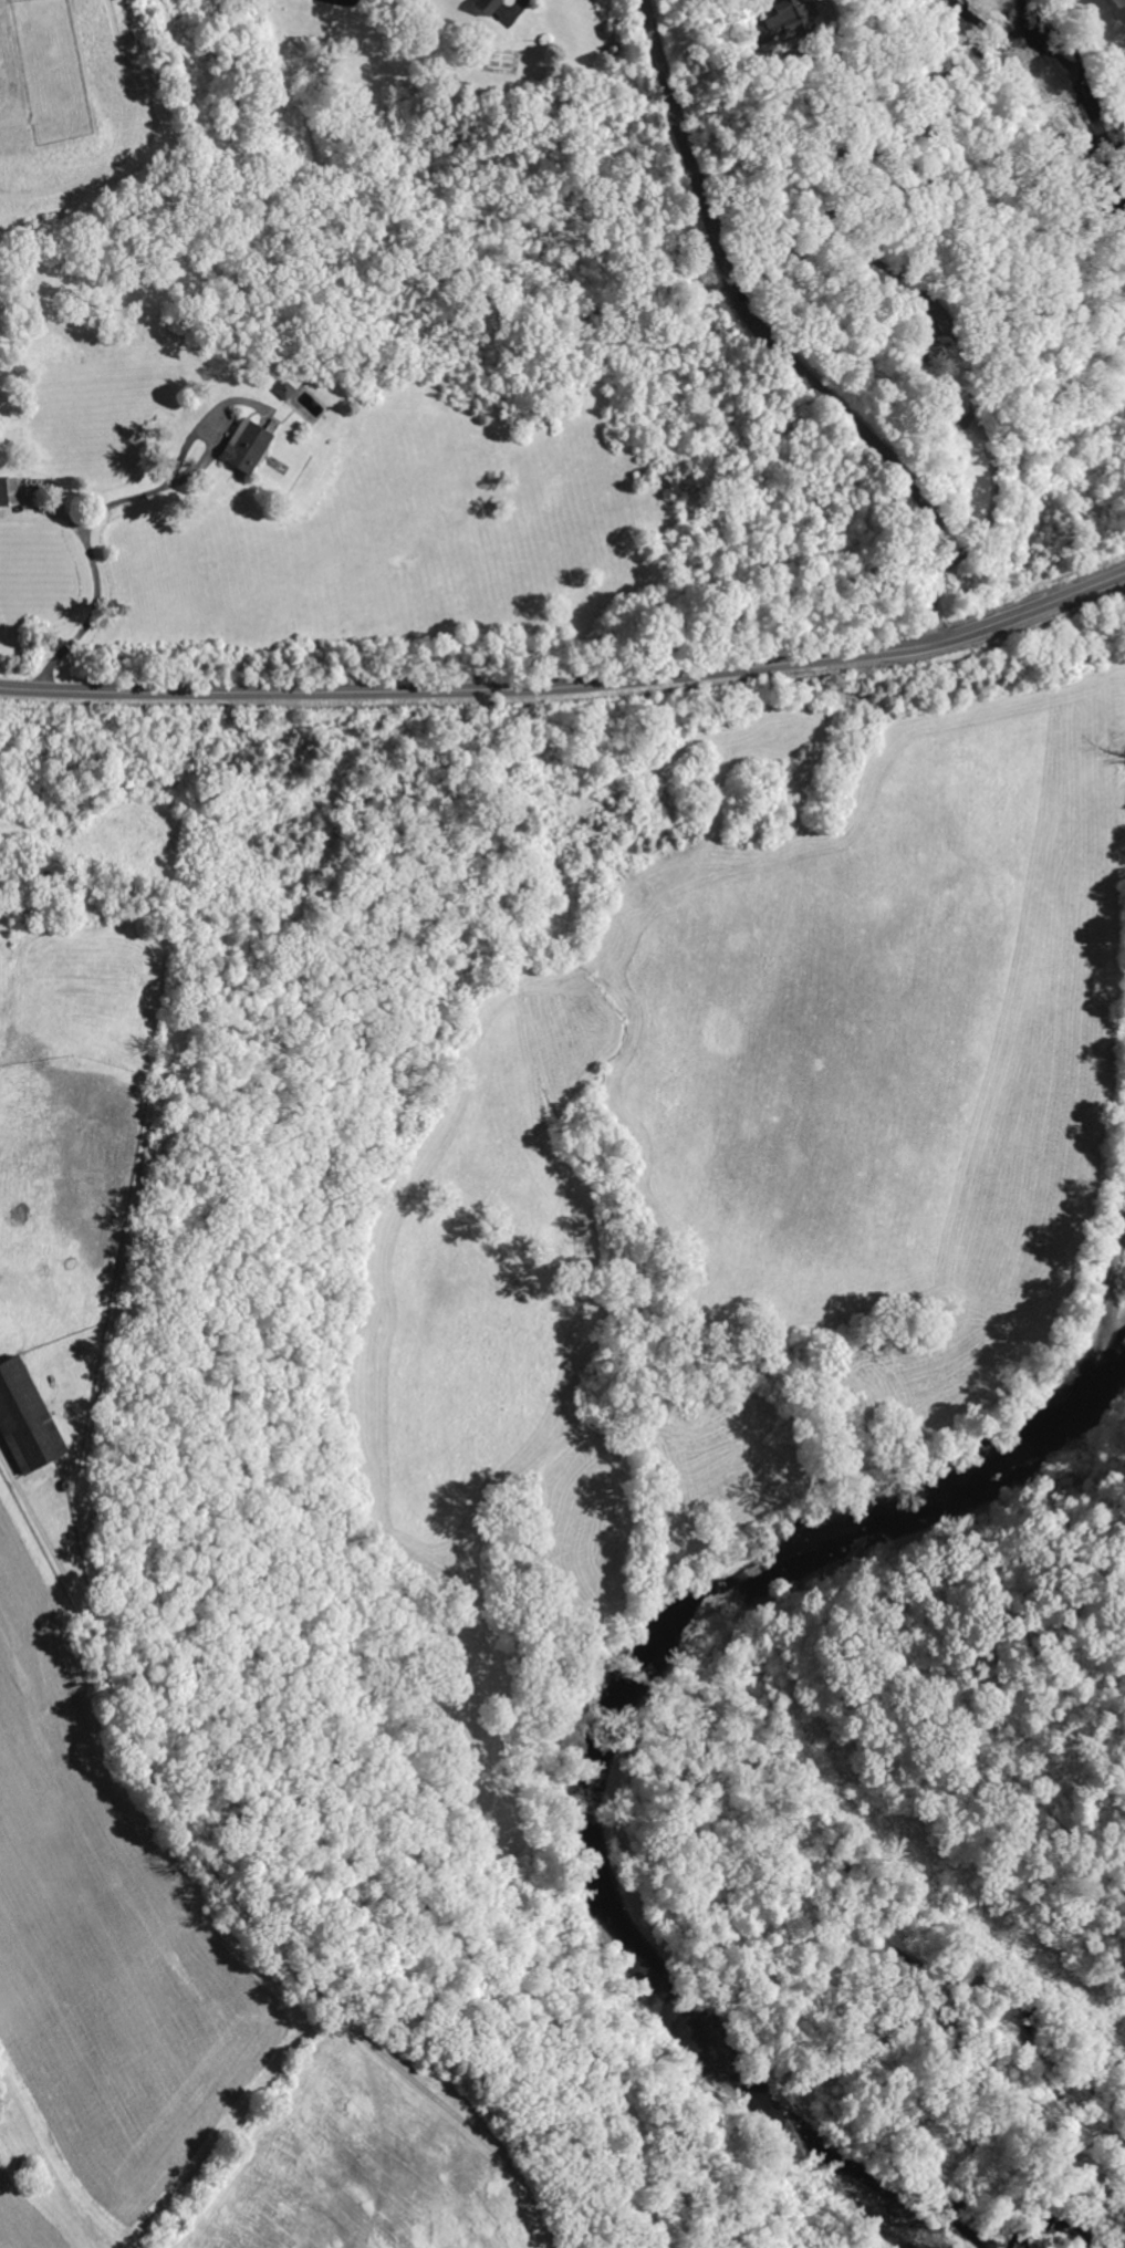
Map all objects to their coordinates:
building: (481, 4)
building: (781, 21)
river: (1061, 101)
road: (942, 313)
road: (769, 341)
building: (246, 445)
building: (8, 490)
road: (86, 524)
road: (570, 684)
building: (25, 1418)
road: (7, 1466)
river: (603, 1728)

